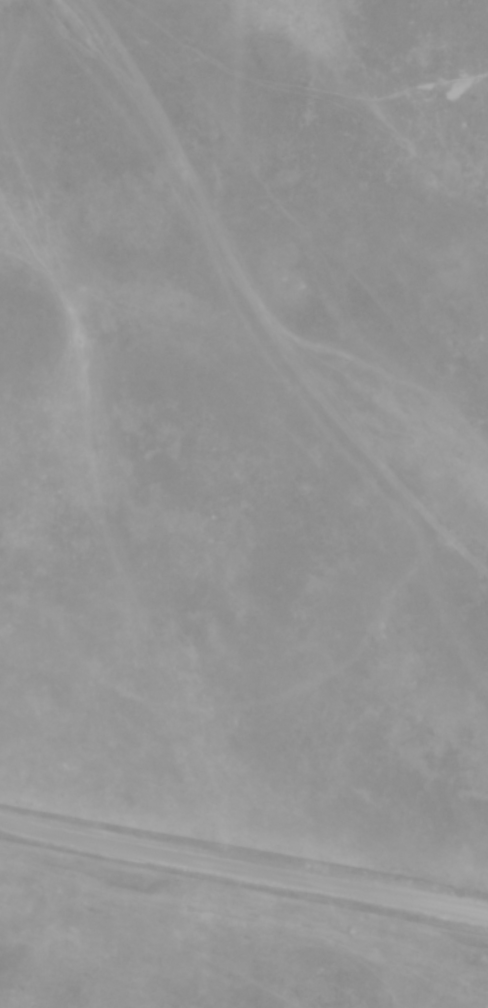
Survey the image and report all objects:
road: (244, 864)

